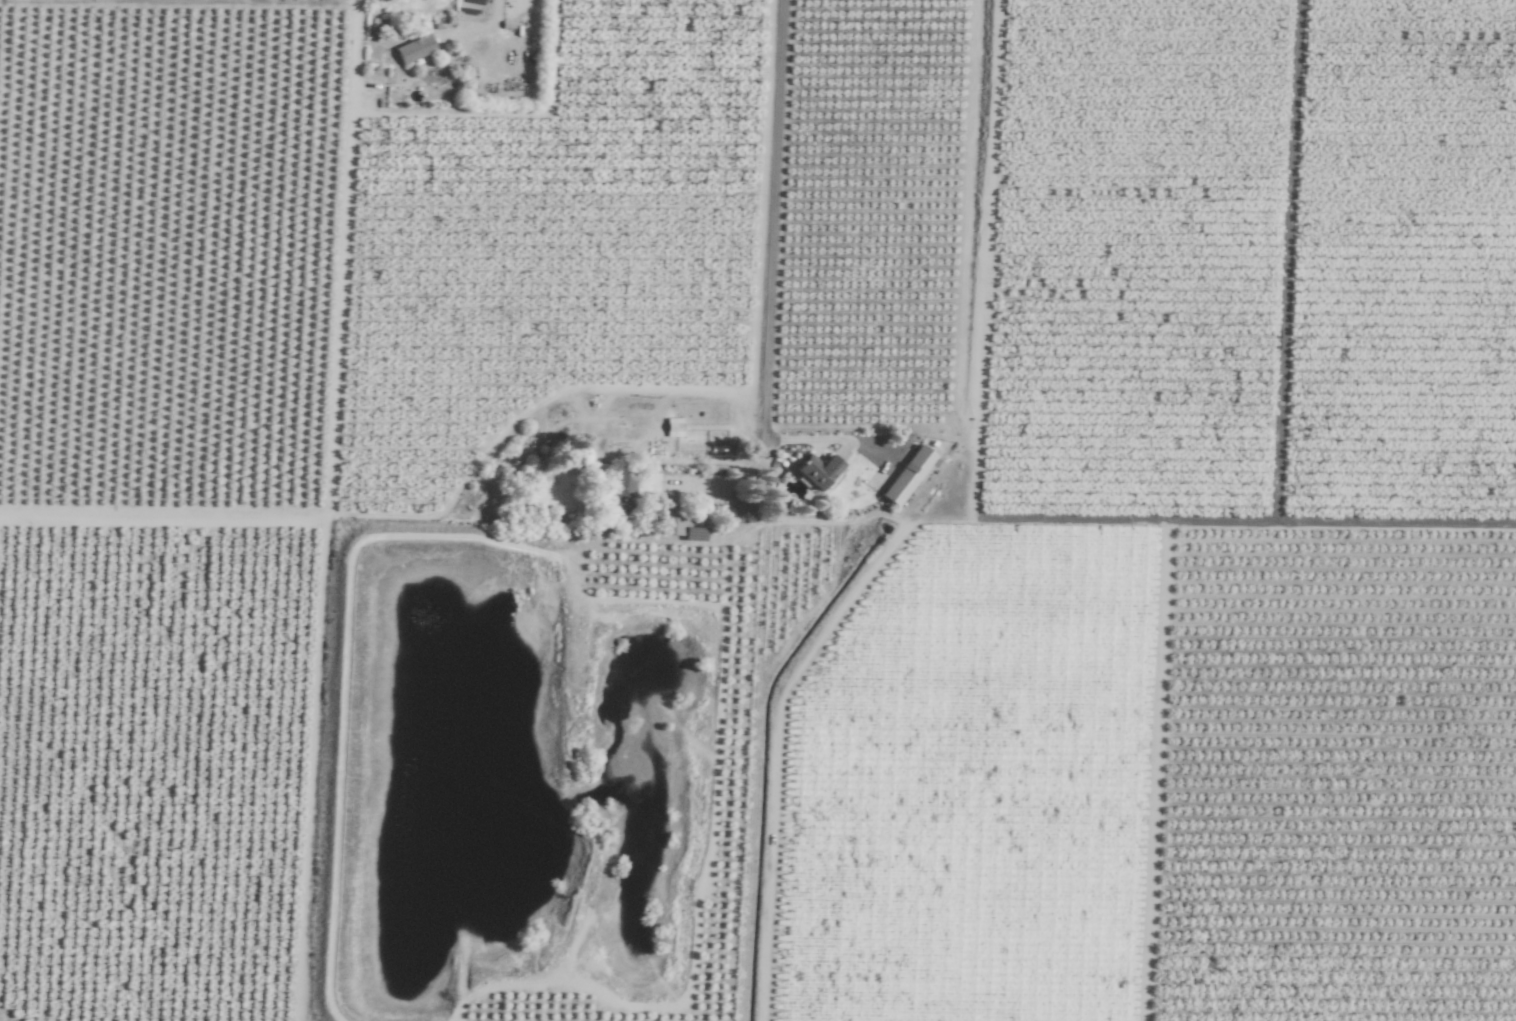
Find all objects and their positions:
road: (308, 1)
road: (495, 17)
building: (416, 49)
road: (764, 276)
building: (674, 428)
building: (923, 457)
road: (720, 478)

